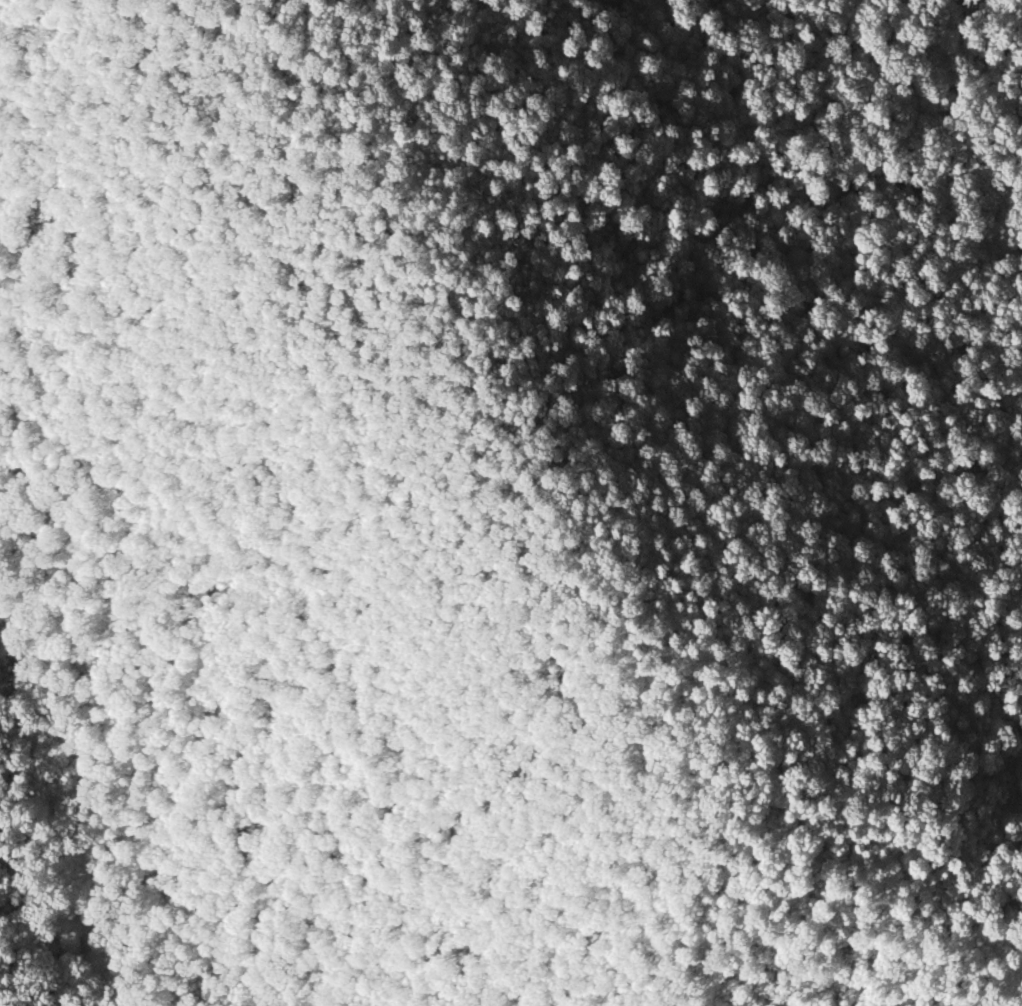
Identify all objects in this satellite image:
road: (280, 208)

